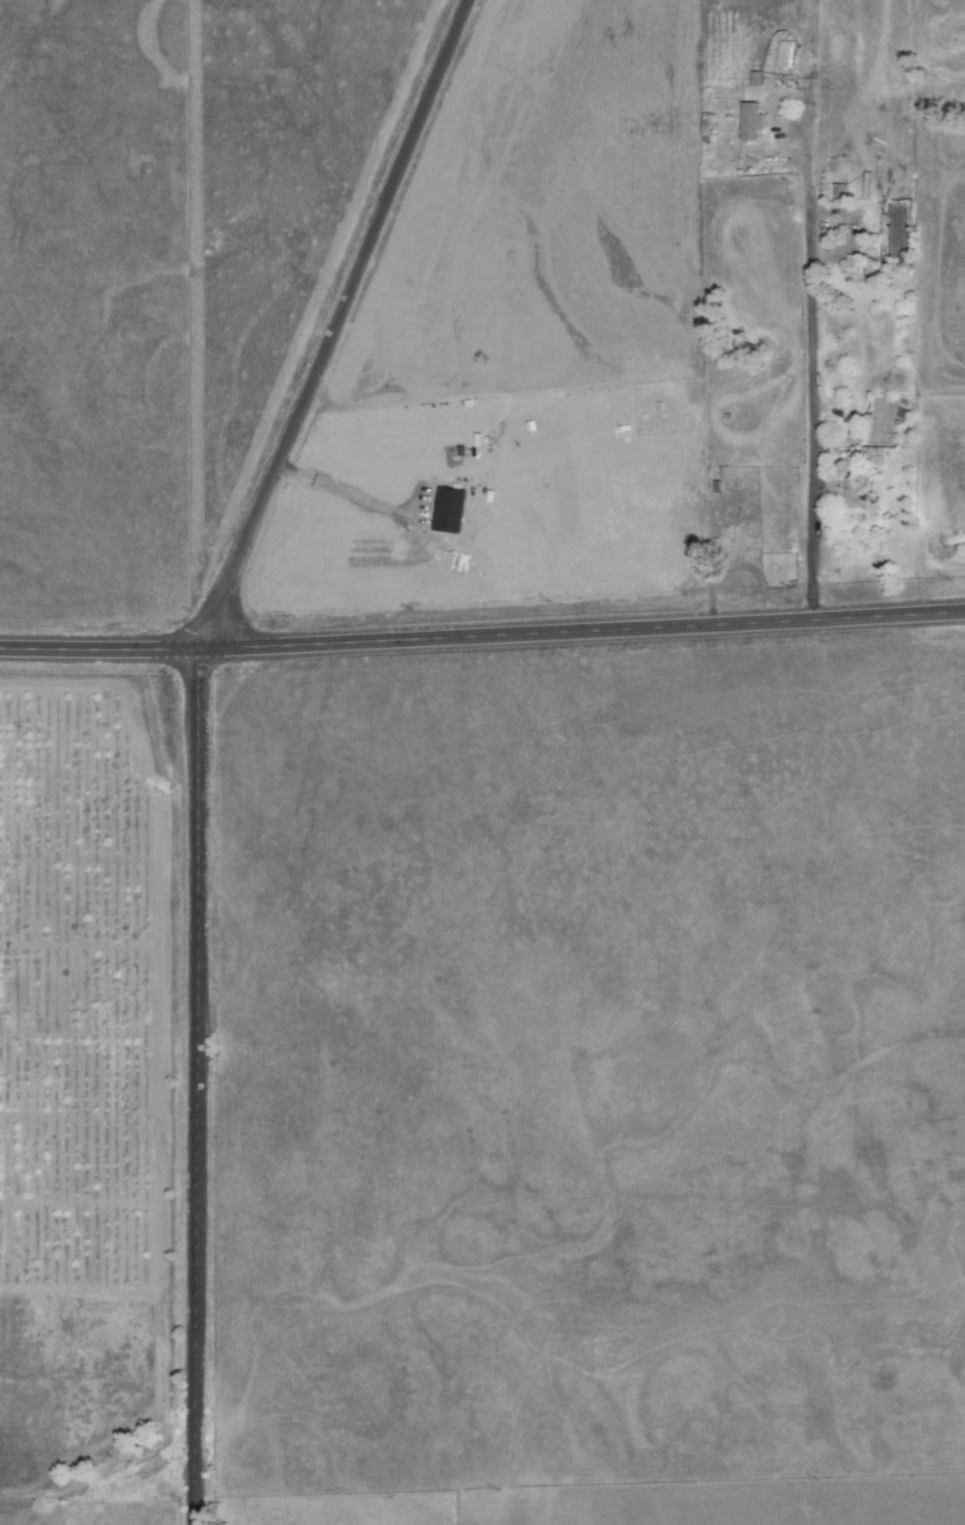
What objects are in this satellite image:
building: (751, 121)
building: (842, 191)
road: (894, 267)
road: (829, 400)
building: (867, 445)
building: (854, 495)
road: (482, 638)
road: (194, 735)

